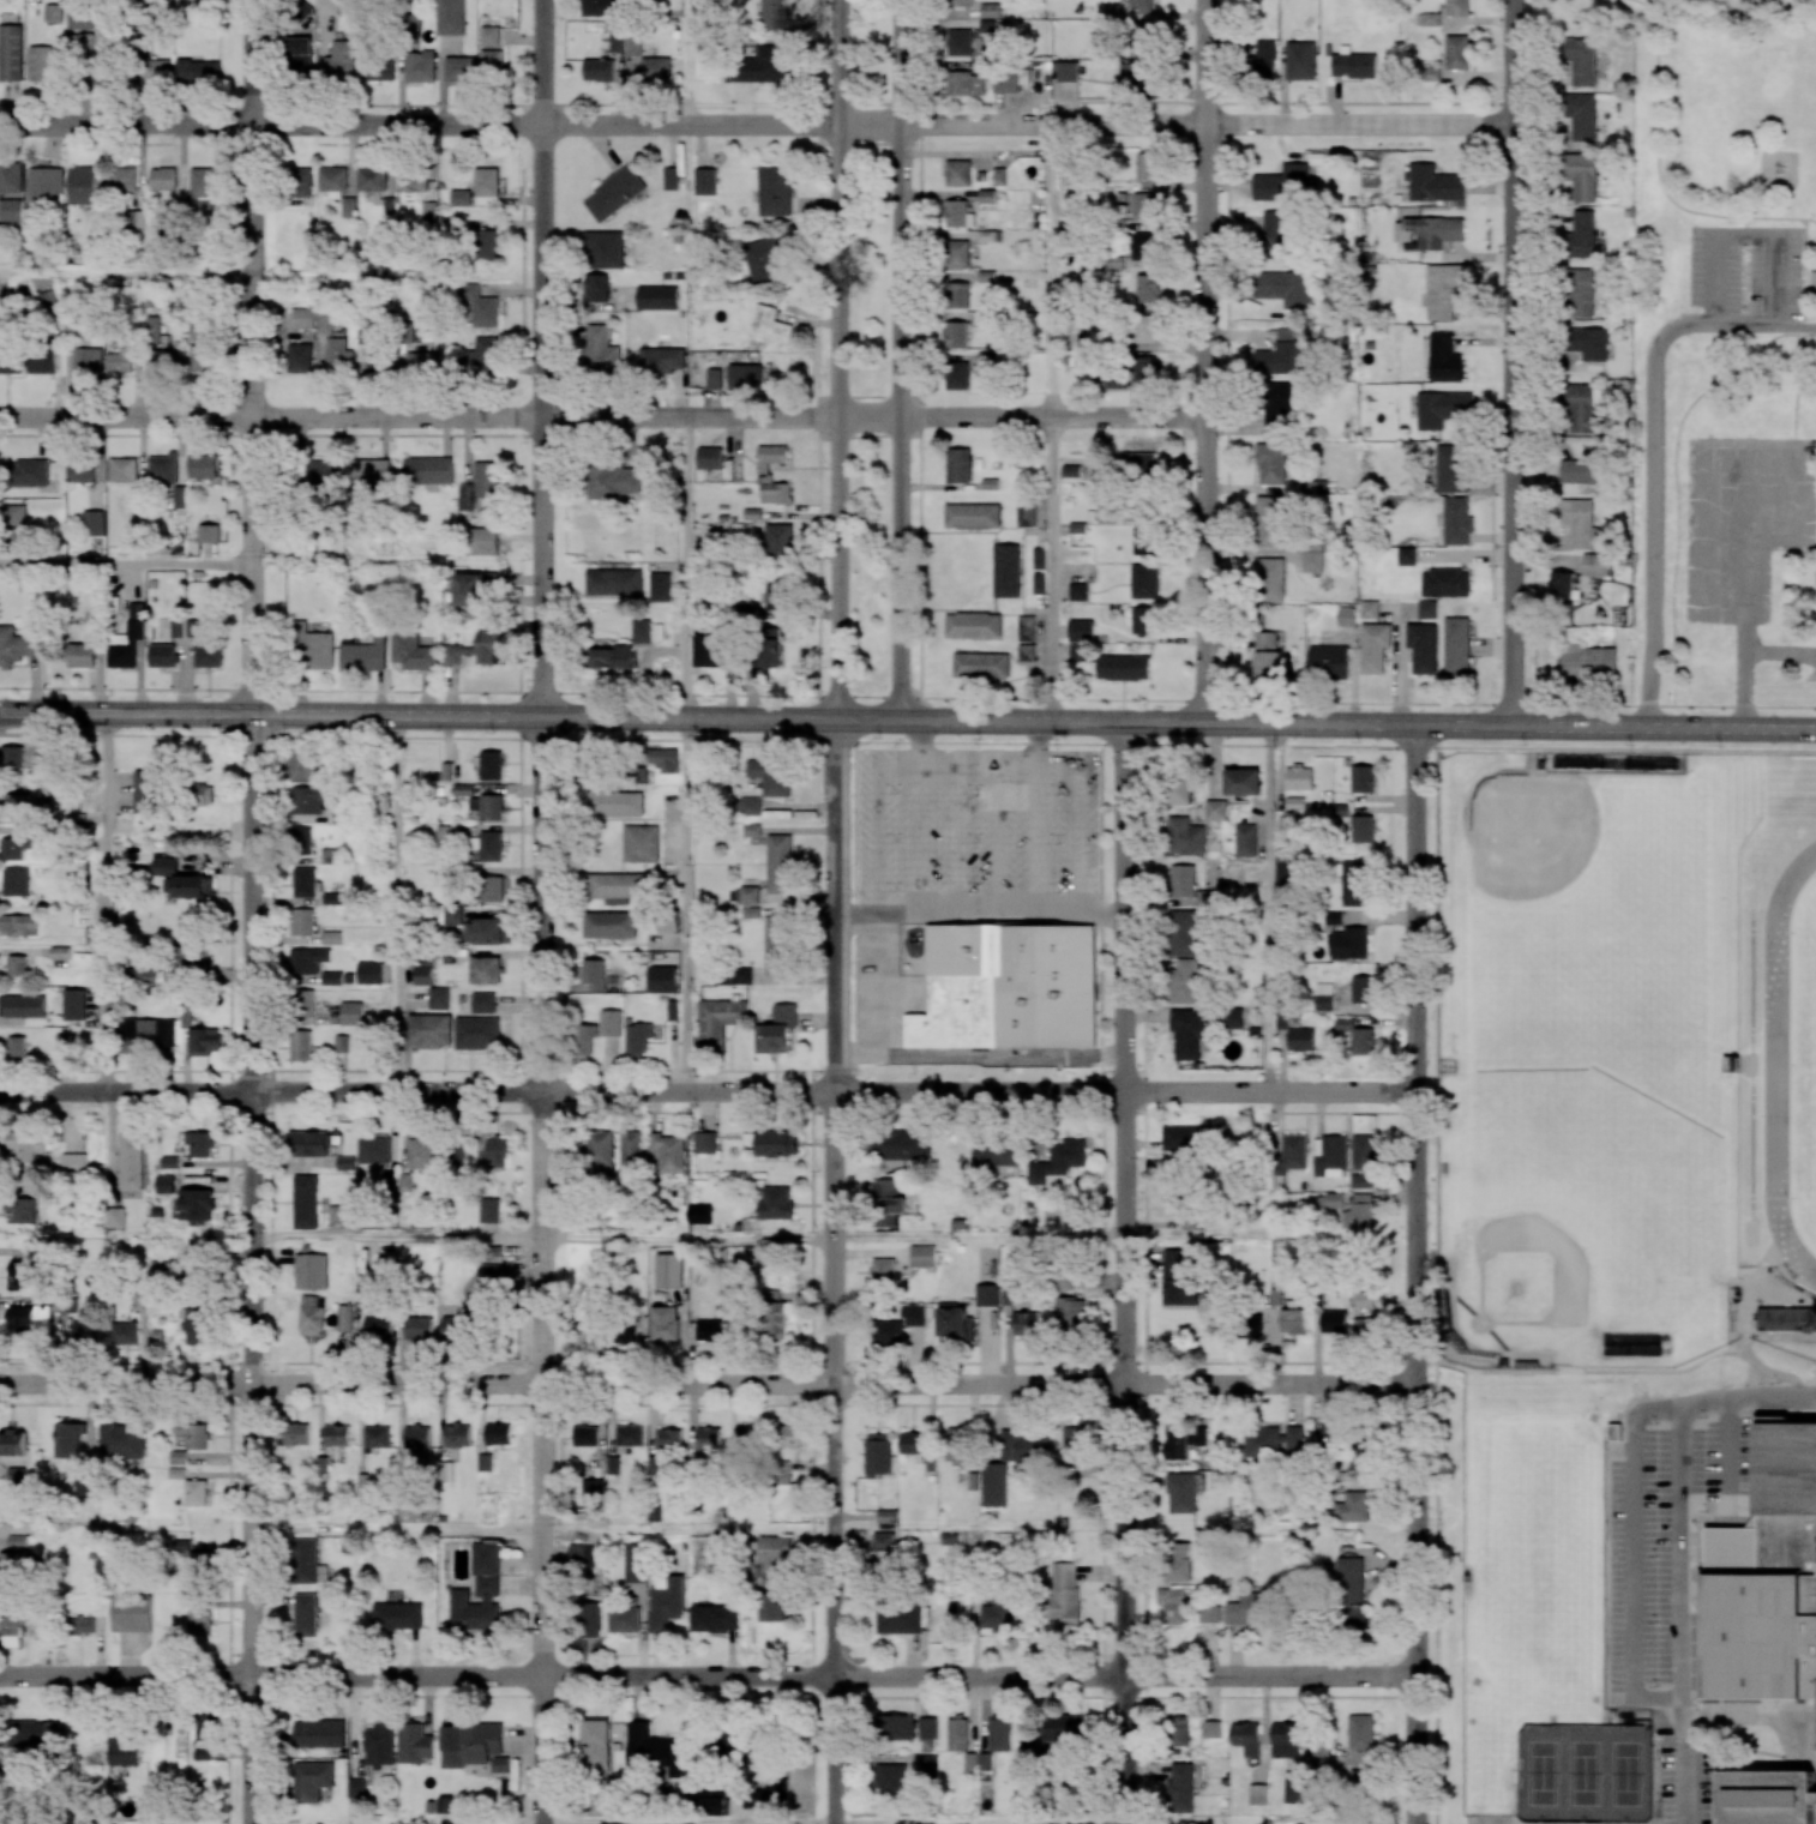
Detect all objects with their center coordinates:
building: (962, 2)
building: (1141, 5)
building: (326, 7)
building: (599, 7)
building: (1457, 7)
building: (988, 10)
building: (1108, 11)
building: (53, 13)
building: (772, 13)
building: (80, 17)
building: (450, 17)
building: (1429, 19)
building: (1143, 34)
building: (489, 36)
building: (615, 41)
building: (958, 42)
building: (633, 44)
building: (1457, 52)
building: (11, 53)
building: (299, 55)
building: (341, 60)
building: (702, 60)
building: (1262, 60)
building: (1300, 60)
building: (1581, 60)
building: (42, 62)
road: (688, 62)
road: (1511, 62)
building: (492, 64)
building: (1353, 64)
building: (762, 65)
building: (420, 66)
building: (379, 67)
building: (458, 68)
building: (656, 68)
building: (599, 70)
building: (155, 71)
building: (1066, 71)
building: (198, 72)
building: (1136, 76)
building: (964, 83)
building: (1005, 83)
building: (1582, 115)
road: (1174, 125)
road: (420, 126)
building: (1147, 165)
park: (1719, 165)
road: (1658, 171)
building: (958, 173)
building: (1582, 175)
building: (999, 176)
building: (11, 177)
building: (371, 177)
building: (671, 177)
building: (122, 179)
building: (162, 179)
building: (413, 180)
building: (332, 181)
building: (705, 181)
building: (300, 182)
building: (1282, 183)
building: (43, 185)
building: (82, 185)
building: (1435, 185)
building: (486, 186)
building: (202, 191)
building: (774, 191)
building: (614, 193)
building: (986, 197)
building: (459, 198)
building: (1145, 205)
building: (348, 206)
building: (11, 209)
building: (428, 211)
building: (958, 213)
building: (136, 219)
building: (1429, 231)
building: (1275, 234)
building: (1580, 235)
road: (1745, 239)
building: (486, 243)
building: (1143, 246)
building: (603, 249)
building: (956, 254)
building: (764, 257)
road: (125, 271)
road: (1051, 271)
building: (596, 288)
building: (1147, 288)
building: (1282, 288)
building: (1442, 289)
building: (1580, 293)
building: (957, 295)
building: (657, 297)
building: (48, 300)
building: (479, 307)
building: (301, 317)
building: (768, 326)
building: (154, 329)
building: (200, 329)
building: (1144, 329)
building: (1286, 333)
building: (956, 335)
building: (1588, 343)
park: (870, 349)
building: (601, 350)
building: (485, 353)
building: (338, 354)
building: (202, 356)
road: (251, 357)
road: (545, 357)
building: (986, 357)
building: (299, 359)
road: (900, 359)
road: (921, 359)
building: (1279, 359)
building: (1444, 359)
building: (28, 360)
building: (121, 360)
building: (166, 360)
building: (662, 360)
road: (818, 360)
road: (840, 360)
building: (88, 361)
building: (419, 361)
road: (1207, 361)
building: (1131, 372)
building: (957, 375)
building: (746, 377)
building: (1276, 408)
building: (1442, 409)
road: (420, 417)
road: (1023, 417)
road: (1510, 426)
road: (1655, 453)
building: (771, 456)
building: (709, 457)
road: (1720, 460)
building: (1271, 463)
building: (202, 465)
building: (958, 465)
building: (1137, 465)
building: (1451, 468)
building: (122, 469)
building: (162, 469)
building: (1582, 469)
building: (428, 470)
building: (82, 471)
building: (366, 471)
building: (1080, 471)
building: (26, 472)
building: (320, 474)
building: (612, 481)
building: (480, 484)
building: (1307, 487)
building: (774, 490)
building: (179, 496)
road: (1798, 502)
building: (1026, 512)
building: (1107, 514)
building: (972, 516)
building: (1269, 520)
building: (1456, 520)
building: (1579, 520)
building: (94, 522)
building: (208, 532)
building: (483, 541)
building: (778, 541)
building: (1406, 556)
building: (1039, 558)
building: (1311, 558)
road: (125, 565)
building: (1595, 565)
road: (687, 567)
road: (1050, 568)
building: (1006, 571)
building: (1270, 579)
building: (1144, 580)
building: (613, 582)
building: (1039, 583)
building: (1444, 583)
building: (1562, 585)
building: (660, 586)
building: (474, 588)
building: (1077, 591)
building: (774, 594)
building: (747, 609)
building: (1370, 609)
building: (1427, 609)
building: (1346, 616)
building: (1142, 620)
building: (136, 621)
building: (972, 625)
building: (185, 627)
building: (1024, 627)
building: (1080, 630)
building: (641, 631)
building: (17, 645)
building: (315, 645)
building: (1457, 645)
building: (1375, 646)
building: (771, 648)
building: (1423, 648)
building: (480, 649)
building: (711, 650)
building: (1024, 651)
building: (413, 652)
building: (1077, 652)
road: (1781, 652)
building: (82, 655)
building: (162, 655)
building: (208, 655)
building: (363, 655)
building: (1267, 655)
building: (612, 656)
building: (1586, 661)
building: (1328, 662)
building: (980, 666)
building: (1123, 667)
road: (1746, 672)
road: (419, 716)
road: (1126, 721)
road: (1616, 726)
road: (908, 741)
road: (920, 745)
road: (1039, 745)
building: (16, 757)
building: (665, 759)
building: (491, 765)
building: (306, 766)
building: (771, 776)
building: (1299, 778)
building: (1361, 778)
building: (1241, 781)
building: (1179, 789)
building: (145, 790)
building: (203, 794)
building: (309, 799)
building: (25, 801)
building: (615, 803)
building: (488, 806)
building: (748, 806)
building: (1215, 809)
building: (1361, 829)
building: (446, 832)
building: (1185, 836)
building: (301, 839)
building: (1245, 839)
road: (920, 841)
road: (982, 842)
road: (1040, 842)
building: (641, 843)
building: (488, 845)
building: (16, 848)
park: (1553, 862)
building: (778, 863)
building: (180, 879)
building: (1183, 880)
building: (14, 881)
building: (303, 881)
building: (1353, 884)
building: (615, 885)
building: (492, 889)
building: (748, 895)
building: (333, 897)
building: (1205, 898)
road: (107, 903)
road: (398, 903)
road: (687, 904)
road: (1269, 907)
road: (858, 911)
road: (924, 911)
road: (1106, 913)
building: (452, 914)
building: (302, 921)
building: (18, 925)
building: (609, 925)
building: (667, 925)
building: (486, 931)
building: (1183, 933)
building: (1348, 943)
building: (777, 945)
building: (60, 952)
building: (192, 957)
building: (307, 959)
building: (17, 965)
building: (422, 970)
building: (486, 970)
building: (369, 973)
building: (594, 974)
building: (736, 976)
building: (1184, 981)
building: (1008, 987)
building: (1363, 989)
building: (1324, 995)
building: (438, 998)
road: (878, 1000)
building: (482, 1003)
building: (74, 1004)
building: (22, 1006)
building: (303, 1006)
building: (351, 1013)
building: (1232, 1017)
building: (718, 1021)
building: (611, 1022)
building: (429, 1030)
building: (776, 1030)
building: (476, 1033)
building: (146, 1034)
building: (1187, 1034)
building: (1358, 1036)
building: (637, 1039)
building: (1301, 1039)
building: (205, 1041)
building: (582, 1041)
building: (61, 1043)
building: (342, 1043)
building: (300, 1045)
park: (1516, 1045)
building: (17, 1046)
park: (1624, 1060)
track: (1781, 1064)
park: (1812, 1070)
road: (708, 1090)
building: (1183, 1137)
building: (705, 1142)
building: (199, 1143)
building: (308, 1143)
building: (776, 1143)
building: (902, 1145)
building: (26, 1148)
building: (631, 1148)
building: (373, 1150)
building: (668, 1151)
building: (419, 1152)
building: (497, 1152)
building: (457, 1154)
building: (601, 1154)
building: (993, 1154)
building: (1291, 1154)
building: (1329, 1156)
building: (1363, 1161)
building: (131, 1162)
building: (73, 1163)
building: (1057, 1163)
building: (164, 1184)
building: (1333, 1199)
building: (305, 1202)
building: (886, 1202)
building: (776, 1203)
building: (197, 1204)
building: (20, 1209)
building: (489, 1210)
building: (1358, 1211)
building: (342, 1214)
building: (699, 1214)
building: (115, 1217)
building: (1191, 1223)
road: (397, 1238)
road: (691, 1239)
road: (981, 1239)
building: (922, 1256)
building: (193, 1266)
road: (251, 1270)
road: (545, 1270)
building: (668, 1270)
building: (311, 1271)
road: (837, 1271)
building: (883, 1271)
building: (19, 1272)
road: (1126, 1272)
road: (1417, 1275)
park: (1523, 1276)
building: (1177, 1280)
building: (493, 1281)
building: (986, 1295)
building: (1364, 1299)
building: (1070, 1312)
building: (775, 1313)
building: (311, 1316)
building: (913, 1316)
building: (344, 1318)
building: (1786, 1318)
building: (29, 1320)
building: (1293, 1322)
building: (1333, 1322)
building: (663, 1323)
building: (955, 1323)
building: (1027, 1323)
building: (379, 1324)
building: (1247, 1324)
building: (196, 1326)
building: (419, 1328)
building: (455, 1328)
building: (1364, 1328)
building: (708, 1330)
building: (626, 1331)
building: (85, 1332)
building: (124, 1332)
building: (588, 1334)
building: (886, 1334)
road: (913, 1362)
road: (708, 1383)
road: (1748, 1396)
road: (505, 1404)
building: (296, 1433)
building: (498, 1433)
building: (193, 1434)
building: (458, 1434)
building: (629, 1434)
building: (336, 1435)
building: (417, 1435)
building: (584, 1435)
building: (789, 1435)
building: (377, 1437)
building: (668, 1438)
building: (708, 1438)
building: (744, 1438)
building: (68, 1439)
building: (1183, 1439)
building: (1271, 1439)
building: (121, 1440)
building: (12, 1443)
building: (1024, 1444)
building: (1076, 1444)
building: (916, 1445)
building: (957, 1445)
building: (1363, 1451)
building: (877, 1455)
building: (485, 1462)
building: (994, 1485)
building: (196, 1492)
building: (593, 1492)
building: (1183, 1492)
building: (1353, 1506)
building: (885, 1548)
building: (581, 1552)
building: (775, 1552)
building: (12, 1554)
road: (1632, 1558)
building: (200, 1559)
building: (486, 1559)
building: (635, 1561)
building: (1179, 1561)
building: (308, 1563)
building: (1349, 1581)
building: (1767, 1581)
building: (1064, 1596)
building: (666, 1601)
building: (1172, 1605)
building: (476, 1606)
building: (775, 1607)
building: (1247, 1609)
building: (132, 1613)
building: (1208, 1613)
building: (305, 1614)
building: (998, 1614)
road: (1683, 1614)
building: (397, 1615)
building: (714, 1618)
building: (898, 1618)
building: (1354, 1618)
building: (589, 1619)
building: (624, 1619)
building: (200, 1621)
building: (80, 1625)
building: (11, 1627)
road: (708, 1674)
building: (897, 1727)
building: (926, 1727)
building: (1064, 1727)
building: (1211, 1728)
building: (1177, 1730)
building: (1360, 1732)
building: (319, 1733)
building: (957, 1733)
building: (998, 1734)
building: (36, 1735)
building: (205, 1738)
building: (1246, 1738)
building: (1285, 1740)
building: (470, 1742)
building: (379, 1744)
building: (414, 1744)
building: (596, 1746)
building: (1317, 1747)
building: (122, 1750)
building: (655, 1750)
building: (975, 1763)
building: (500, 1764)
building: (928, 1764)
park: (1540, 1772)
park: (1582, 1774)
park: (1624, 1774)
building: (311, 1780)
building: (890, 1780)
building: (1180, 1787)
building: (1294, 1787)
building: (356, 1789)
building: (1257, 1794)
building: (1766, 1799)
building: (756, 1800)
building: (712, 1802)
building: (449, 1805)
road: (397, 1823)
road: (691, 1823)
road: (981, 1823)

